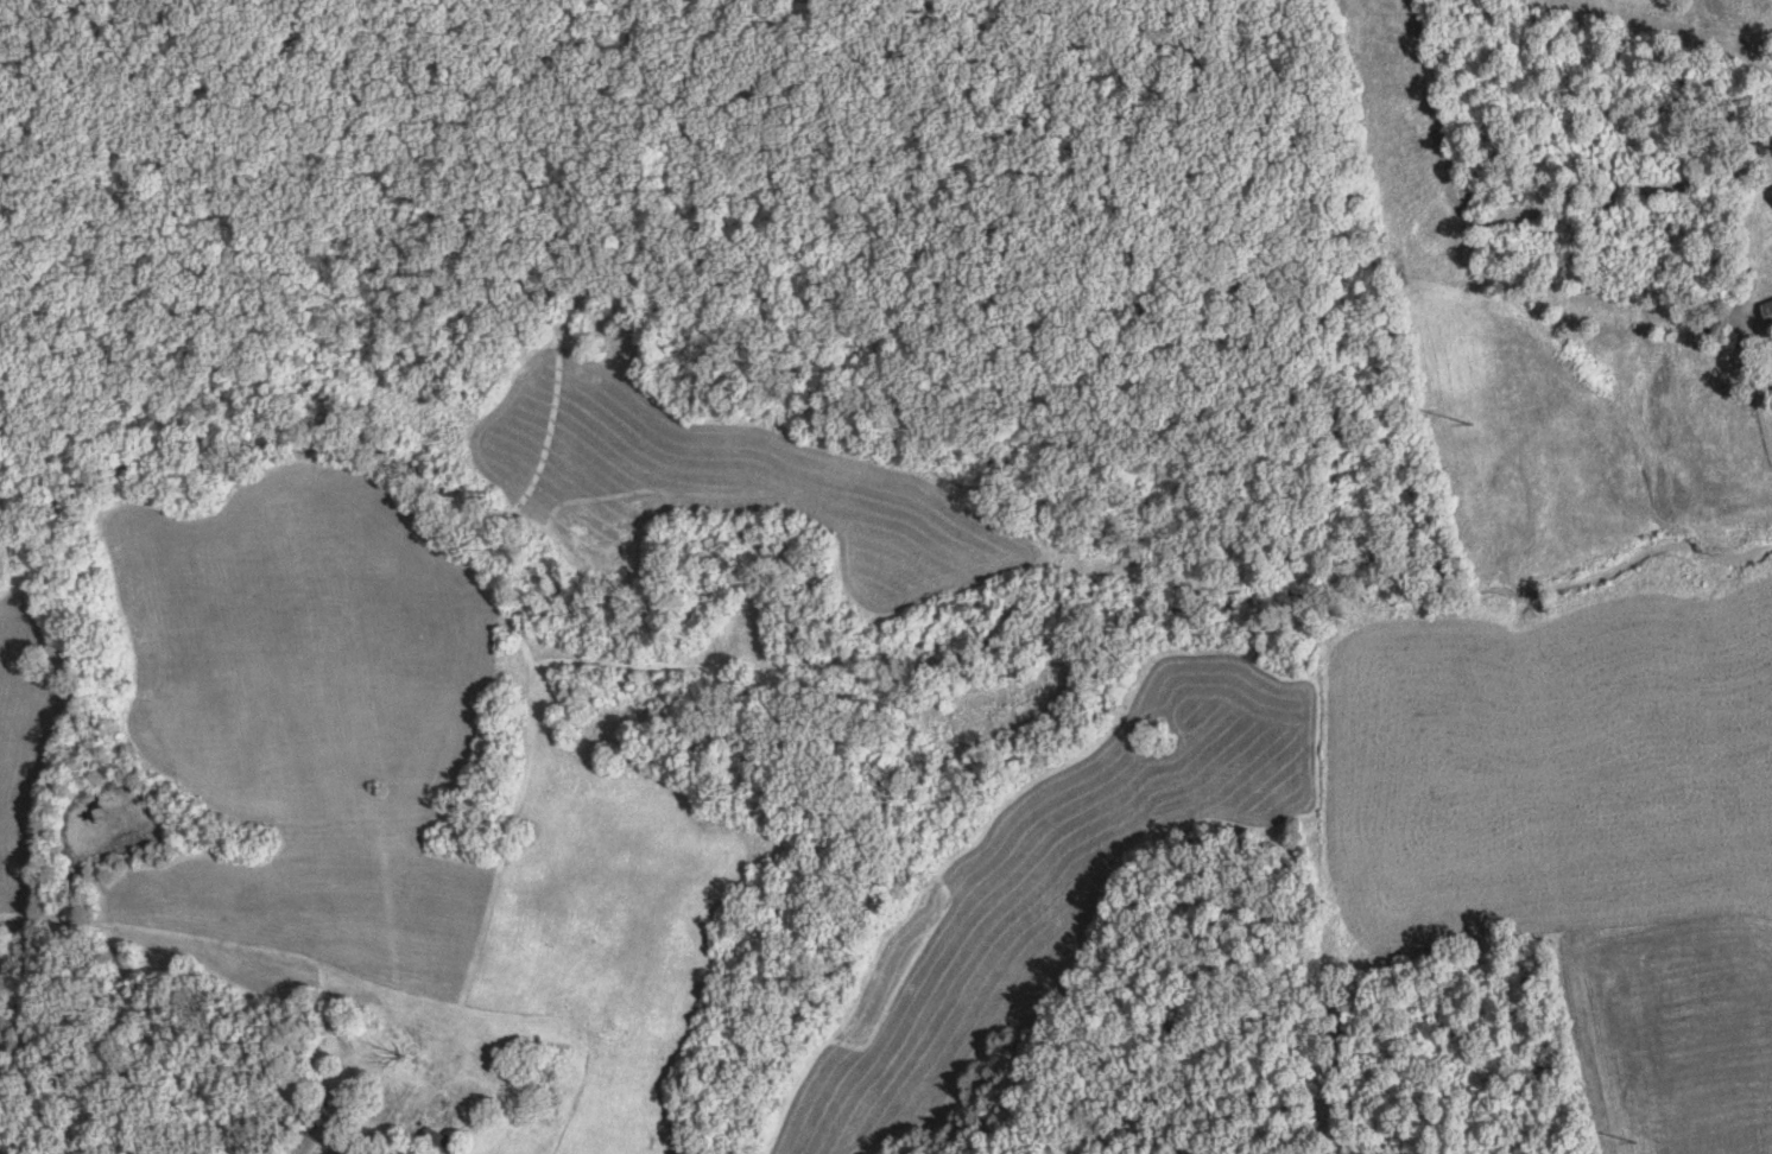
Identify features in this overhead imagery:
building: (439, 1141)
building: (304, 1145)

